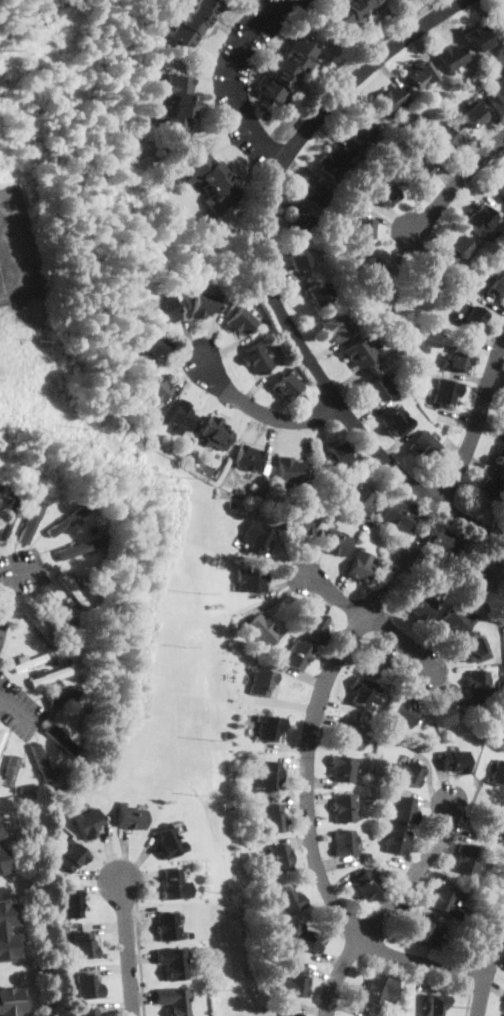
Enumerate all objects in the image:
building: (348, 12)
building: (193, 22)
building: (478, 38)
building: (450, 57)
building: (286, 70)
building: (420, 75)
road: (236, 80)
building: (498, 89)
building: (391, 101)
building: (178, 104)
building: (473, 114)
building: (357, 132)
building: (444, 139)
building: (333, 161)
building: (415, 172)
building: (212, 181)
road: (457, 184)
building: (500, 189)
building: (311, 194)
building: (385, 195)
building: (343, 203)
building: (478, 219)
building: (301, 225)
building: (362, 228)
building: (456, 248)
building: (299, 261)
building: (344, 264)
building: (371, 270)
road: (266, 276)
building: (424, 279)
building: (496, 287)
building: (319, 293)
building: (206, 303)
building: (462, 307)
building: (165, 310)
building: (474, 317)
building: (241, 321)
building: (336, 326)
building: (401, 335)
building: (153, 347)
building: (359, 352)
building: (256, 358)
building: (457, 360)
building: (419, 378)
building: (286, 386)
building: (379, 386)
building: (156, 392)
building: (445, 393)
road: (257, 410)
building: (181, 417)
building: (397, 421)
road: (477, 422)
building: (215, 433)
building: (188, 441)
building: (425, 446)
building: (334, 454)
building: (248, 458)
building: (500, 459)
building: (289, 470)
building: (491, 489)
building: (237, 490)
building: (6, 491)
building: (358, 500)
building: (397, 516)
building: (8, 517)
building: (66, 518)
building: (29, 520)
building: (298, 521)
building: (256, 538)
building: (333, 540)
building: (442, 544)
building: (62, 552)
building: (359, 565)
parking lot: (24, 569)
road: (20, 570)
building: (478, 580)
building: (249, 581)
building: (68, 585)
building: (421, 606)
building: (53, 608)
building: (40, 615)
building: (458, 620)
road: (372, 621)
building: (37, 624)
building: (313, 627)
building: (259, 628)
building: (56, 634)
building: (476, 649)
building: (298, 654)
building: (52, 659)
building: (374, 660)
building: (29, 661)
building: (74, 666)
building: (49, 676)
building: (390, 677)
building: (261, 681)
building: (478, 685)
building: (361, 691)
building: (62, 695)
parking lot: (18, 708)
road: (18, 712)
building: (401, 712)
building: (439, 714)
building: (268, 726)
building: (227, 734)
building: (348, 735)
building: (2, 736)
building: (64, 743)
building: (454, 760)
building: (38, 763)
building: (342, 769)
building: (9, 772)
building: (407, 773)
building: (50, 774)
building: (269, 774)
building: (497, 774)
building: (17, 788)
building: (365, 798)
road: (308, 803)
building: (343, 807)
building: (402, 810)
building: (131, 817)
building: (272, 819)
building: (87, 822)
building: (1, 834)
building: (395, 841)
building: (168, 842)
building: (344, 843)
building: (365, 854)
building: (72, 856)
building: (3, 858)
building: (279, 859)
building: (467, 860)
building: (365, 884)
building: (174, 885)
building: (443, 900)
building: (288, 901)
building: (72, 903)
road: (387, 908)
road: (489, 921)
building: (167, 926)
building: (3, 929)
building: (423, 931)
building: (308, 939)
building: (83, 946)
road: (129, 948)
road: (139, 961)
building: (172, 963)
road: (489, 969)
road: (471, 976)
building: (293, 983)
building: (87, 988)
building: (379, 989)
building: (173, 1000)
road: (468, 1001)
building: (11, 1002)
building: (435, 1005)
building: (88, 1012)
building: (290, 1014)

